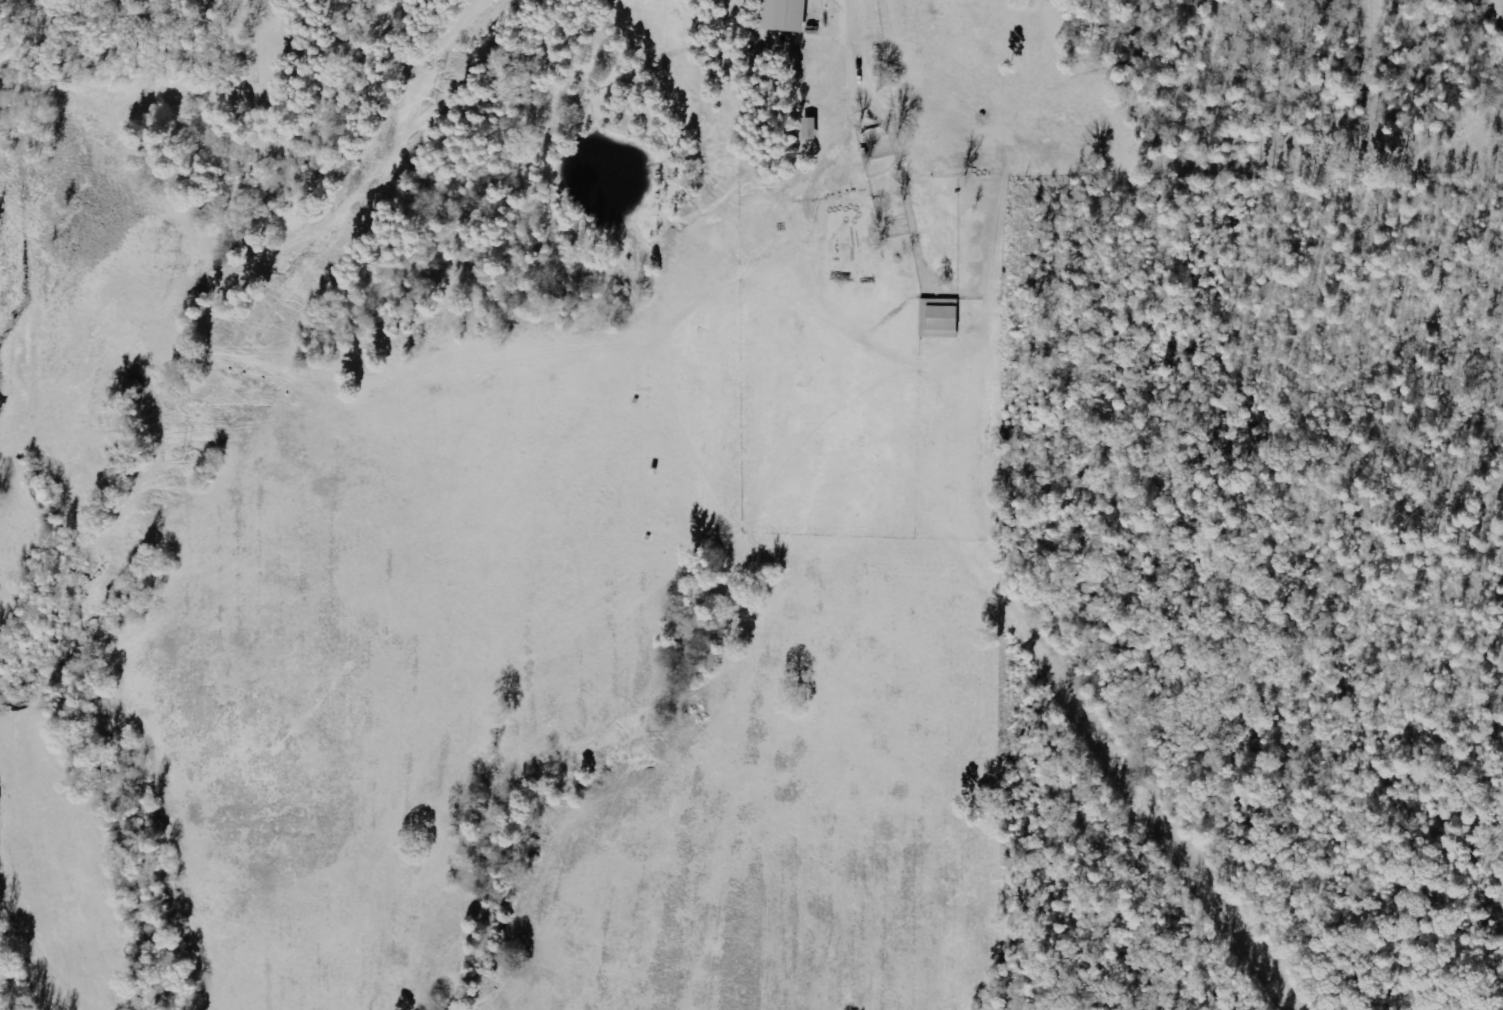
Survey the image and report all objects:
building: (788, 15)
road: (41, 44)
power tower: (429, 106)
building: (814, 129)
building: (941, 319)

